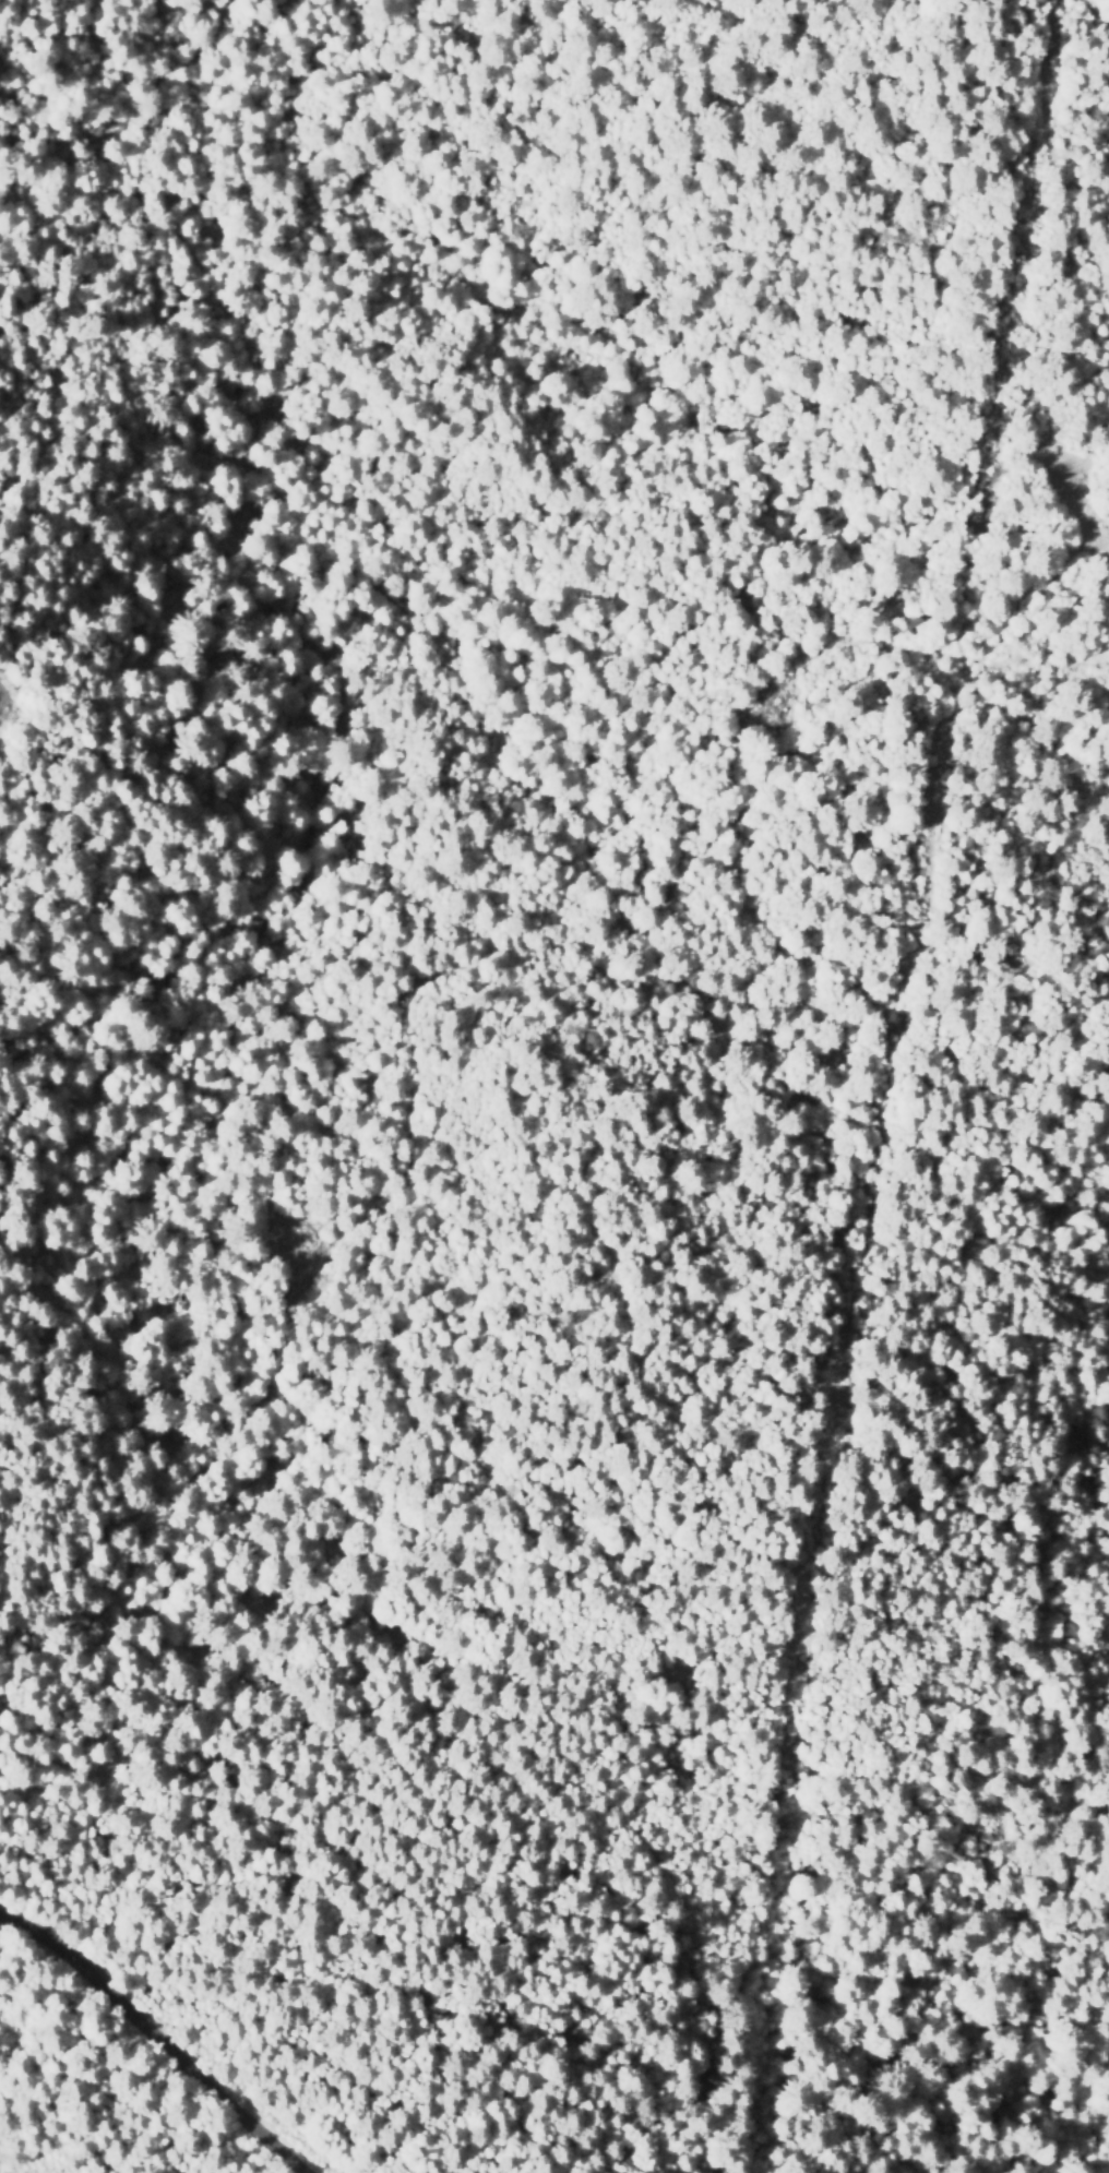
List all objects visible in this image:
road: (160, 2038)
road: (958, 2046)

